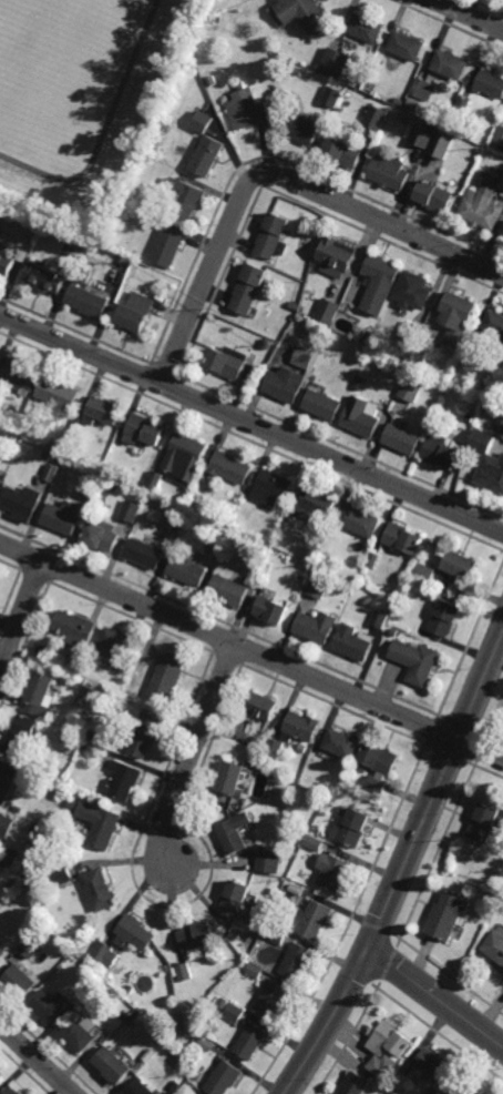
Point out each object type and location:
building: (306, 14)
road: (469, 14)
building: (218, 18)
building: (366, 28)
building: (408, 45)
building: (336, 61)
building: (451, 64)
building: (491, 83)
building: (286, 85)
building: (424, 89)
building: (356, 91)
building: (333, 97)
building: (402, 101)
building: (464, 105)
building: (247, 108)
building: (378, 117)
building: (203, 122)
building: (305, 129)
building: (423, 135)
building: (442, 145)
building: (345, 152)
building: (208, 158)
building: (391, 172)
road: (276, 173)
building: (502, 188)
building: (138, 193)
building: (435, 197)
building: (186, 200)
building: (485, 204)
building: (20, 215)
building: (274, 237)
building: (170, 247)
building: (337, 259)
building: (10, 262)
building: (58, 267)
building: (44, 280)
building: (380, 284)
building: (250, 291)
building: (413, 292)
building: (86, 302)
building: (296, 308)
building: (331, 312)
building: (136, 313)
building: (458, 321)
building: (495, 325)
building: (413, 334)
building: (369, 338)
building: (480, 341)
building: (268, 345)
building: (306, 359)
building: (227, 363)
building: (19, 376)
building: (361, 385)
building: (287, 386)
building: (483, 386)
building: (412, 391)
building: (57, 394)
building: (324, 407)
building: (102, 414)
building: (365, 418)
building: (471, 419)
road: (251, 422)
building: (502, 430)
building: (141, 434)
building: (403, 442)
building: (53, 450)
building: (441, 450)
building: (47, 460)
building: (185, 462)
building: (489, 462)
building: (10, 464)
building: (66, 466)
building: (0, 468)
building: (232, 470)
building: (109, 475)
building: (52, 476)
building: (204, 482)
building: (155, 483)
building: (271, 488)
building: (91, 493)
building: (141, 500)
building: (22, 503)
building: (311, 503)
building: (130, 511)
building: (62, 517)
building: (174, 518)
building: (359, 518)
building: (100, 533)
building: (216, 536)
building: (403, 536)
building: (144, 549)
building: (373, 557)
building: (444, 561)
building: (310, 566)
building: (187, 567)
building: (298, 581)
building: (319, 584)
building: (227, 588)
building: (432, 595)
building: (269, 608)
building: (445, 616)
road: (21, 617)
building: (380, 618)
building: (316, 625)
building: (73, 627)
building: (353, 640)
building: (113, 646)
road: (251, 649)
building: (415, 659)
building: (80, 661)
building: (165, 677)
building: (82, 678)
building: (37, 692)
building: (130, 697)
building: (259, 707)
building: (301, 727)
building: (21, 732)
building: (143, 738)
building: (342, 742)
building: (84, 746)
building: (274, 747)
building: (302, 747)
road: (188, 754)
building: (377, 764)
building: (318, 776)
building: (228, 777)
building: (7, 778)
building: (123, 780)
building: (49, 787)
road: (435, 792)
building: (17, 810)
building: (97, 822)
building: (4, 825)
building: (352, 825)
building: (485, 828)
building: (234, 833)
building: (314, 842)
building: (8, 857)
building: (269, 862)
building: (332, 871)
building: (62, 878)
building: (11, 888)
building: (99, 890)
building: (296, 890)
building: (235, 898)
building: (446, 918)
building: (315, 920)
building: (134, 933)
building: (277, 934)
building: (197, 935)
building: (30, 948)
building: (494, 948)
building: (58, 952)
building: (2, 953)
building: (105, 954)
building: (296, 962)
building: (80, 969)
building: (255, 970)
building: (185, 972)
building: (18, 982)
building: (131, 991)
road: (437, 997)
building: (273, 1001)
building: (49, 1005)
building: (235, 1013)
building: (123, 1015)
road: (331, 1022)
building: (80, 1033)
building: (160, 1041)
building: (390, 1041)
building: (250, 1042)
building: (207, 1044)
road: (37, 1060)
building: (112, 1066)
building: (383, 1067)
building: (431, 1067)
building: (1, 1076)
building: (225, 1078)
building: (356, 1084)
building: (175, 1085)
building: (469, 1087)
building: (13, 1088)
building: (140, 1088)
building: (433, 1091)

